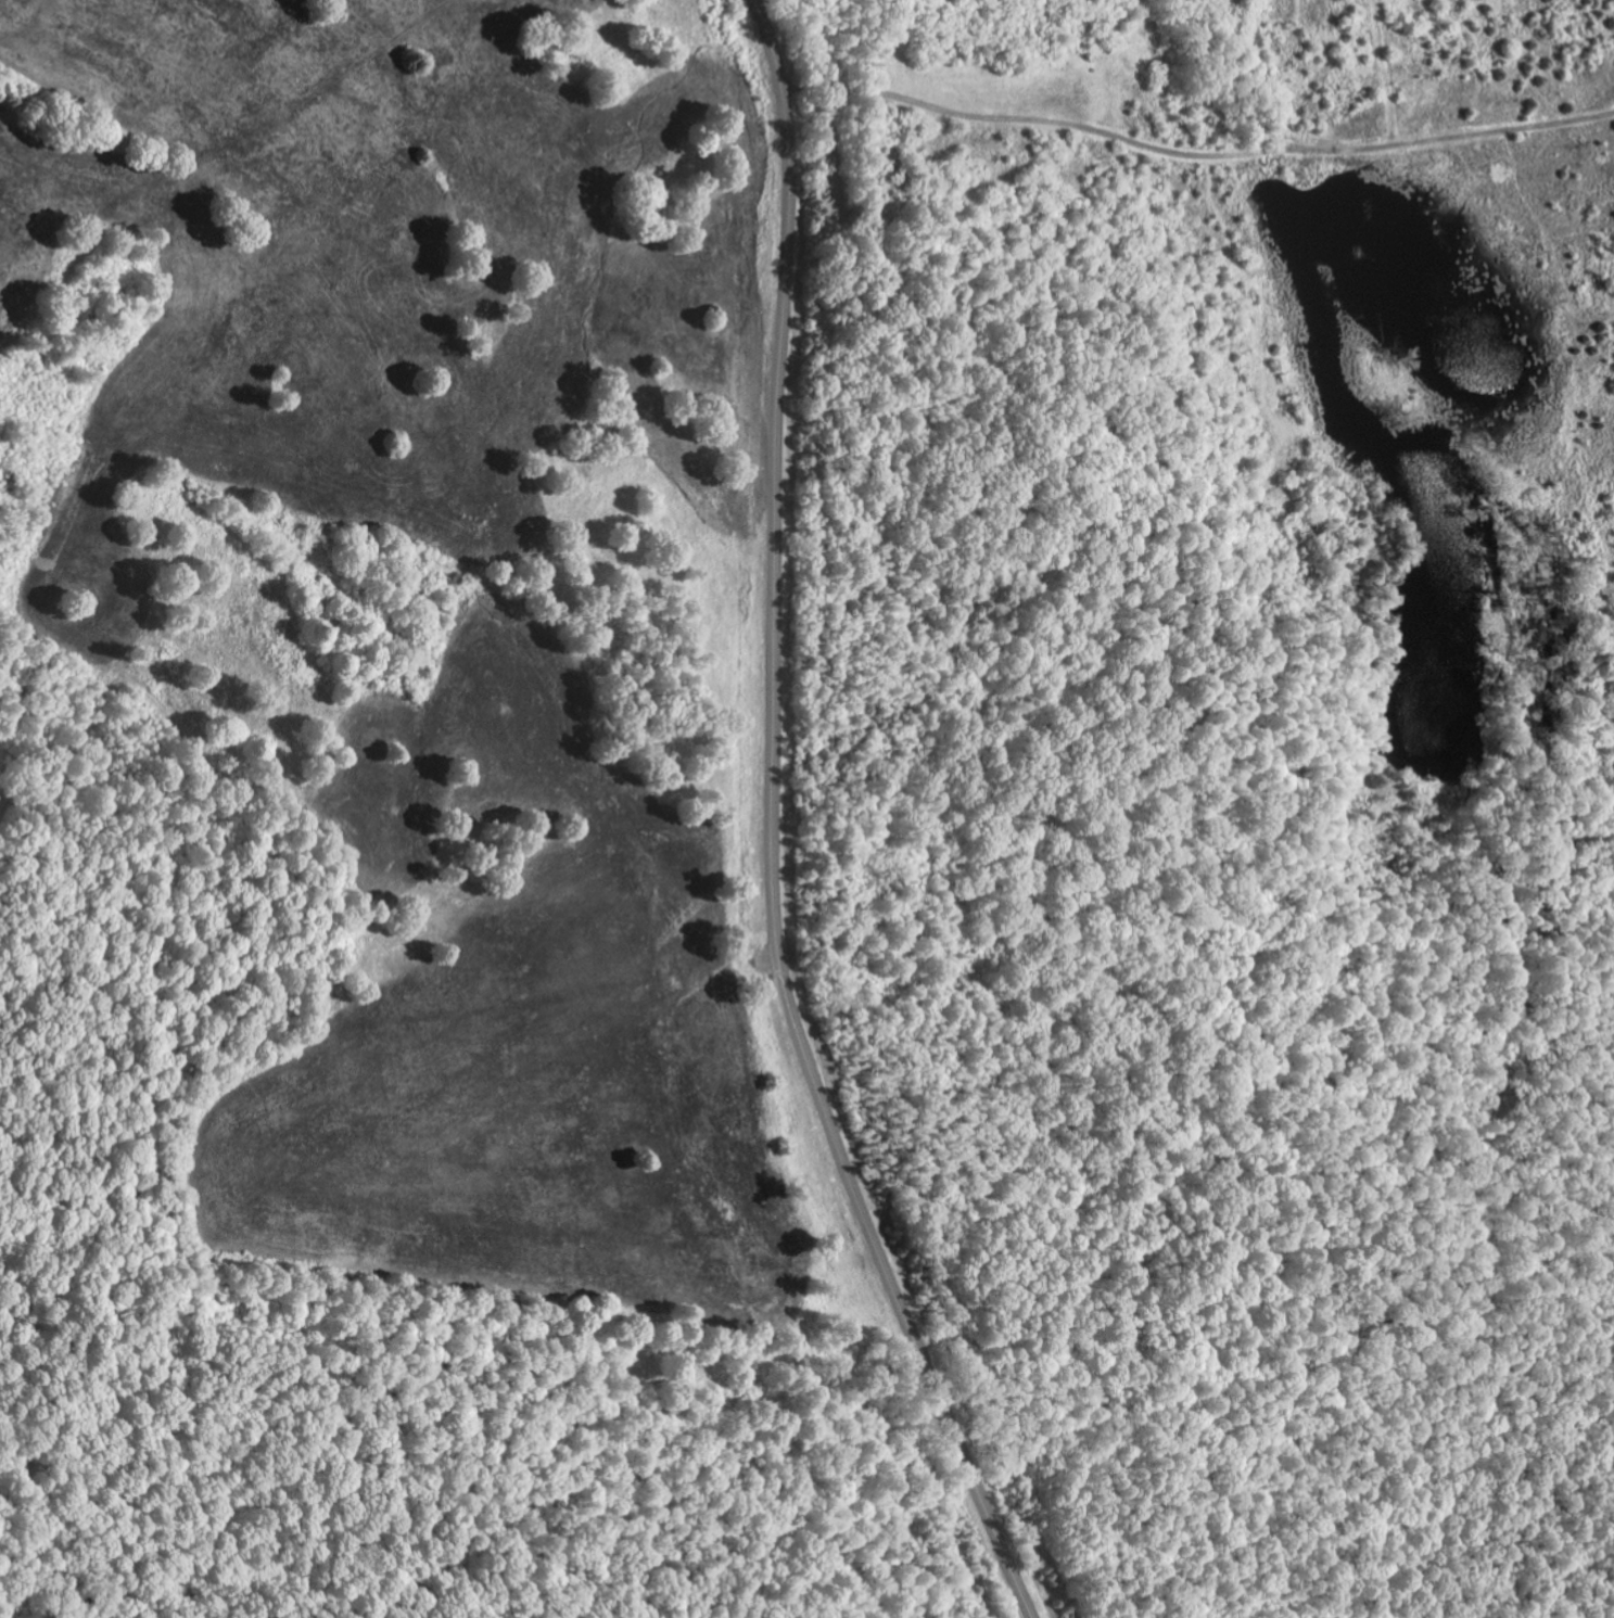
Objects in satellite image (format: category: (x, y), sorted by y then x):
road: (775, 830)

